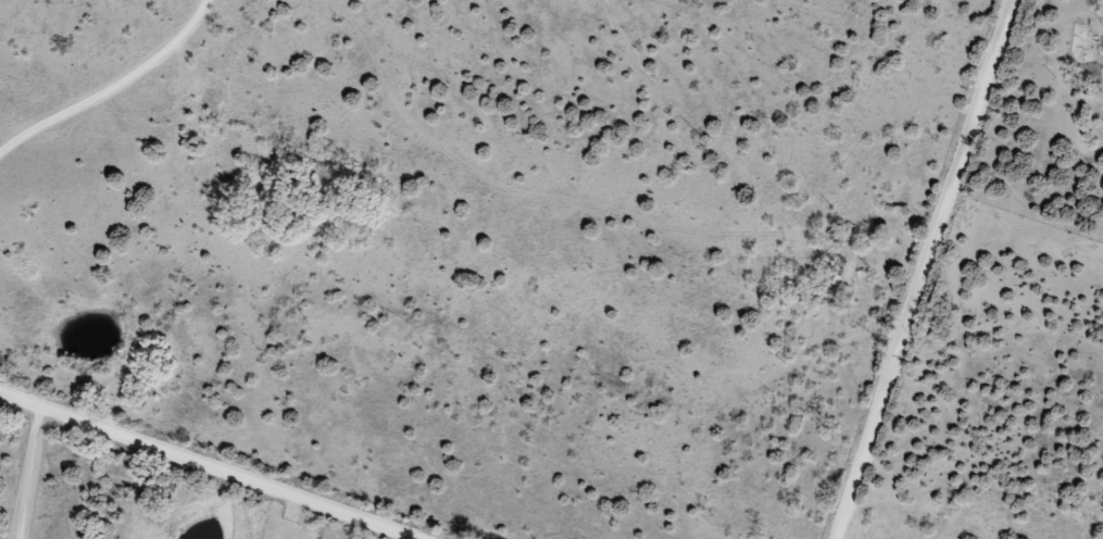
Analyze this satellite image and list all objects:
road: (923, 269)
road: (202, 467)

